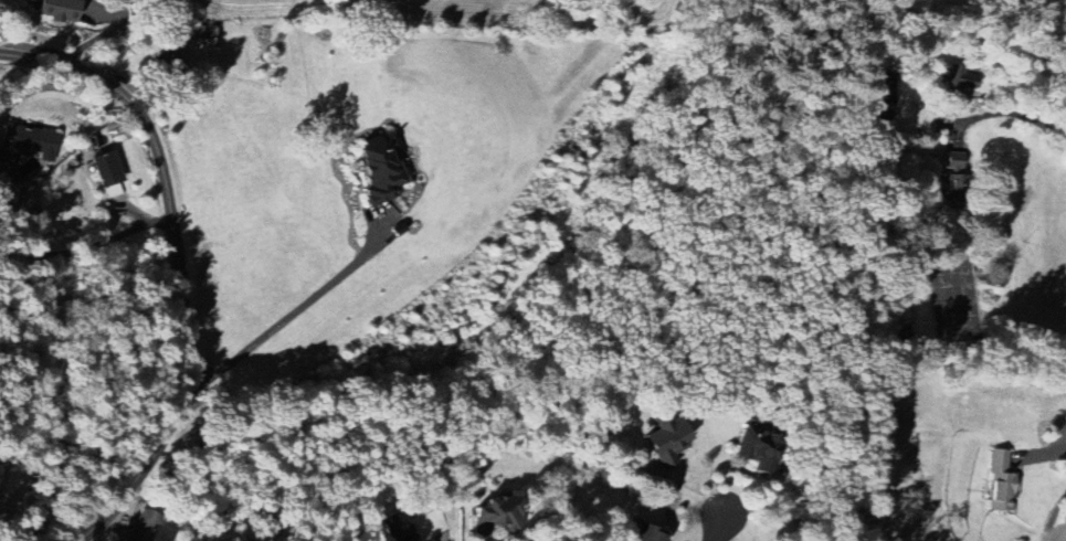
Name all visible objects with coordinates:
building: (59, 9)
building: (171, 65)
building: (963, 77)
road: (1013, 97)
building: (886, 100)
building: (27, 144)
building: (379, 167)
building: (954, 176)
building: (110, 177)
road: (87, 245)
road: (179, 263)
road: (287, 316)
building: (667, 442)
building: (758, 452)
building: (1002, 481)
building: (497, 517)
road: (720, 524)
building: (144, 526)
building: (398, 530)
building: (647, 533)

